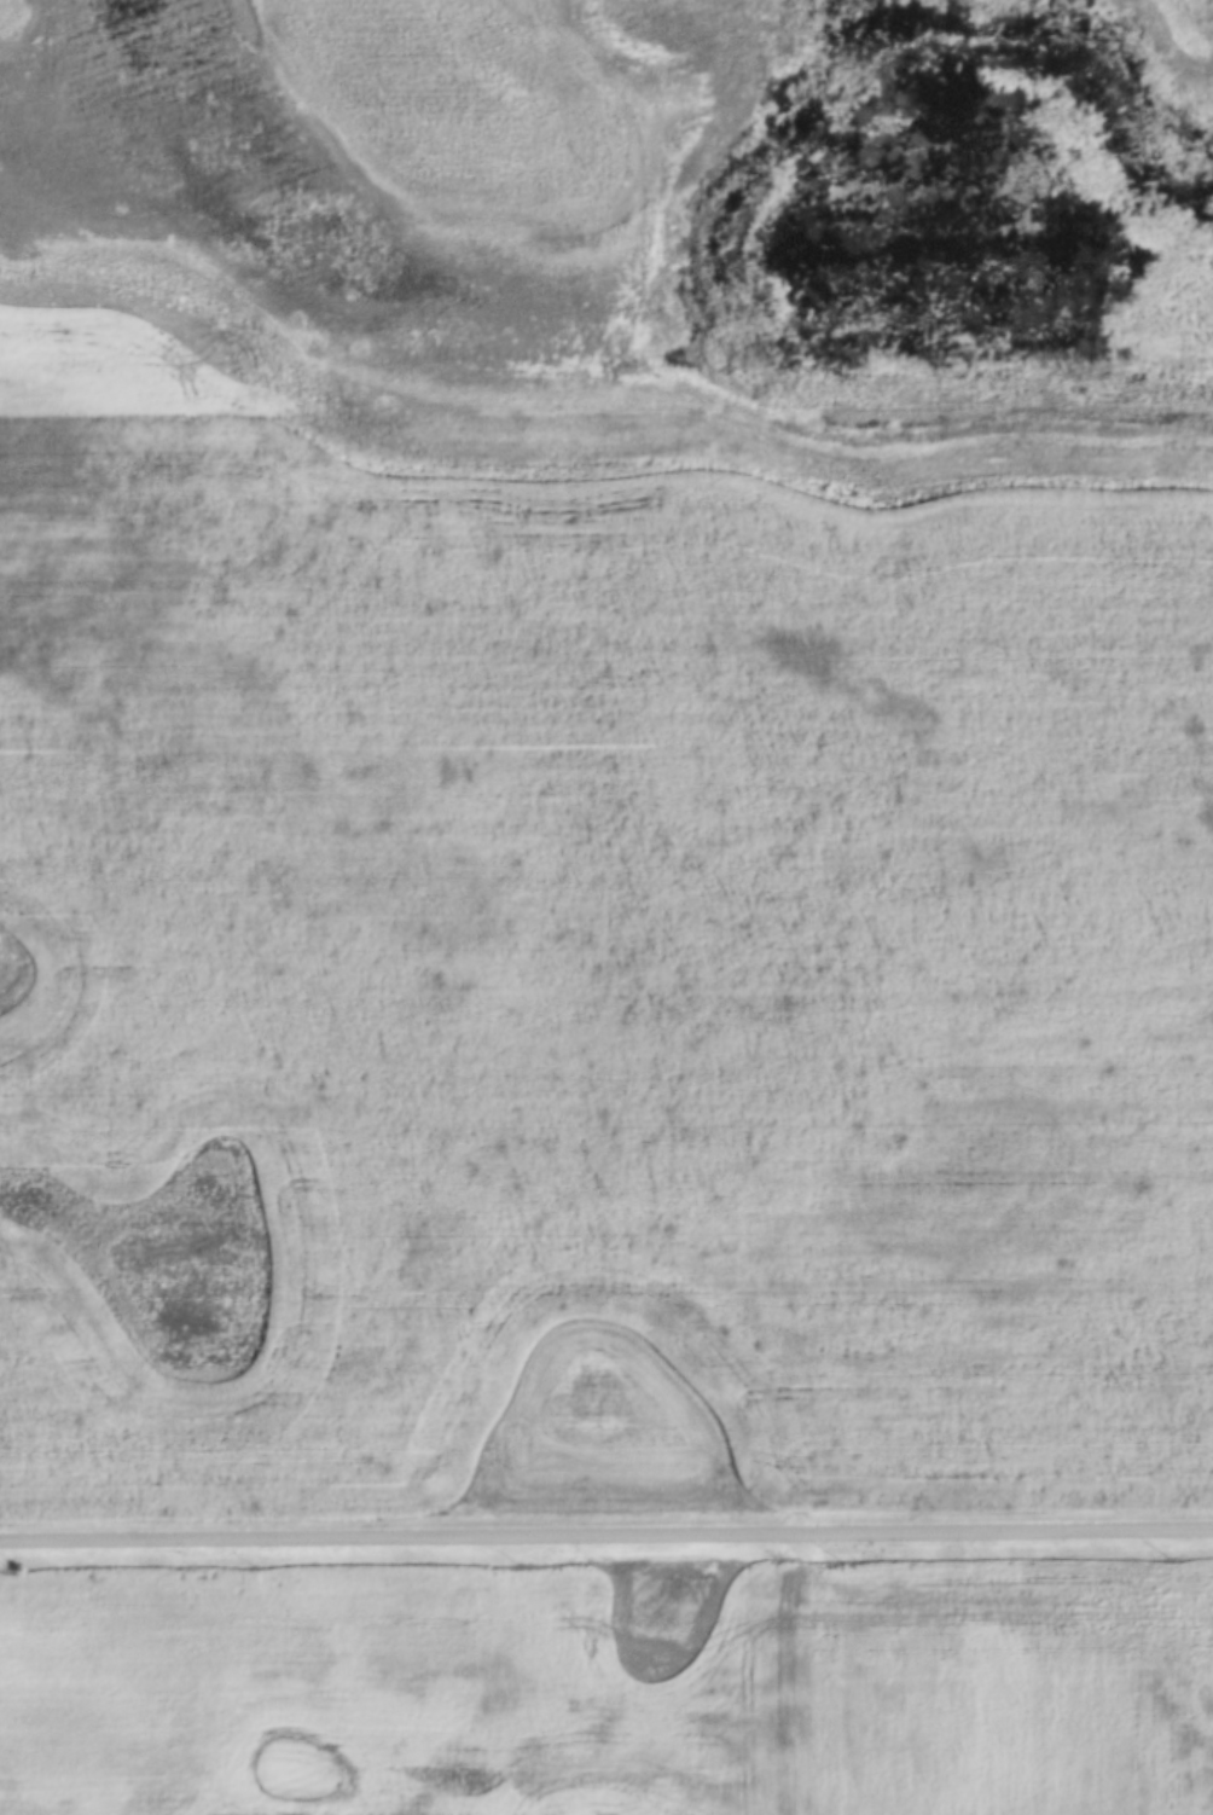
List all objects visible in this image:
road: (606, 1538)

